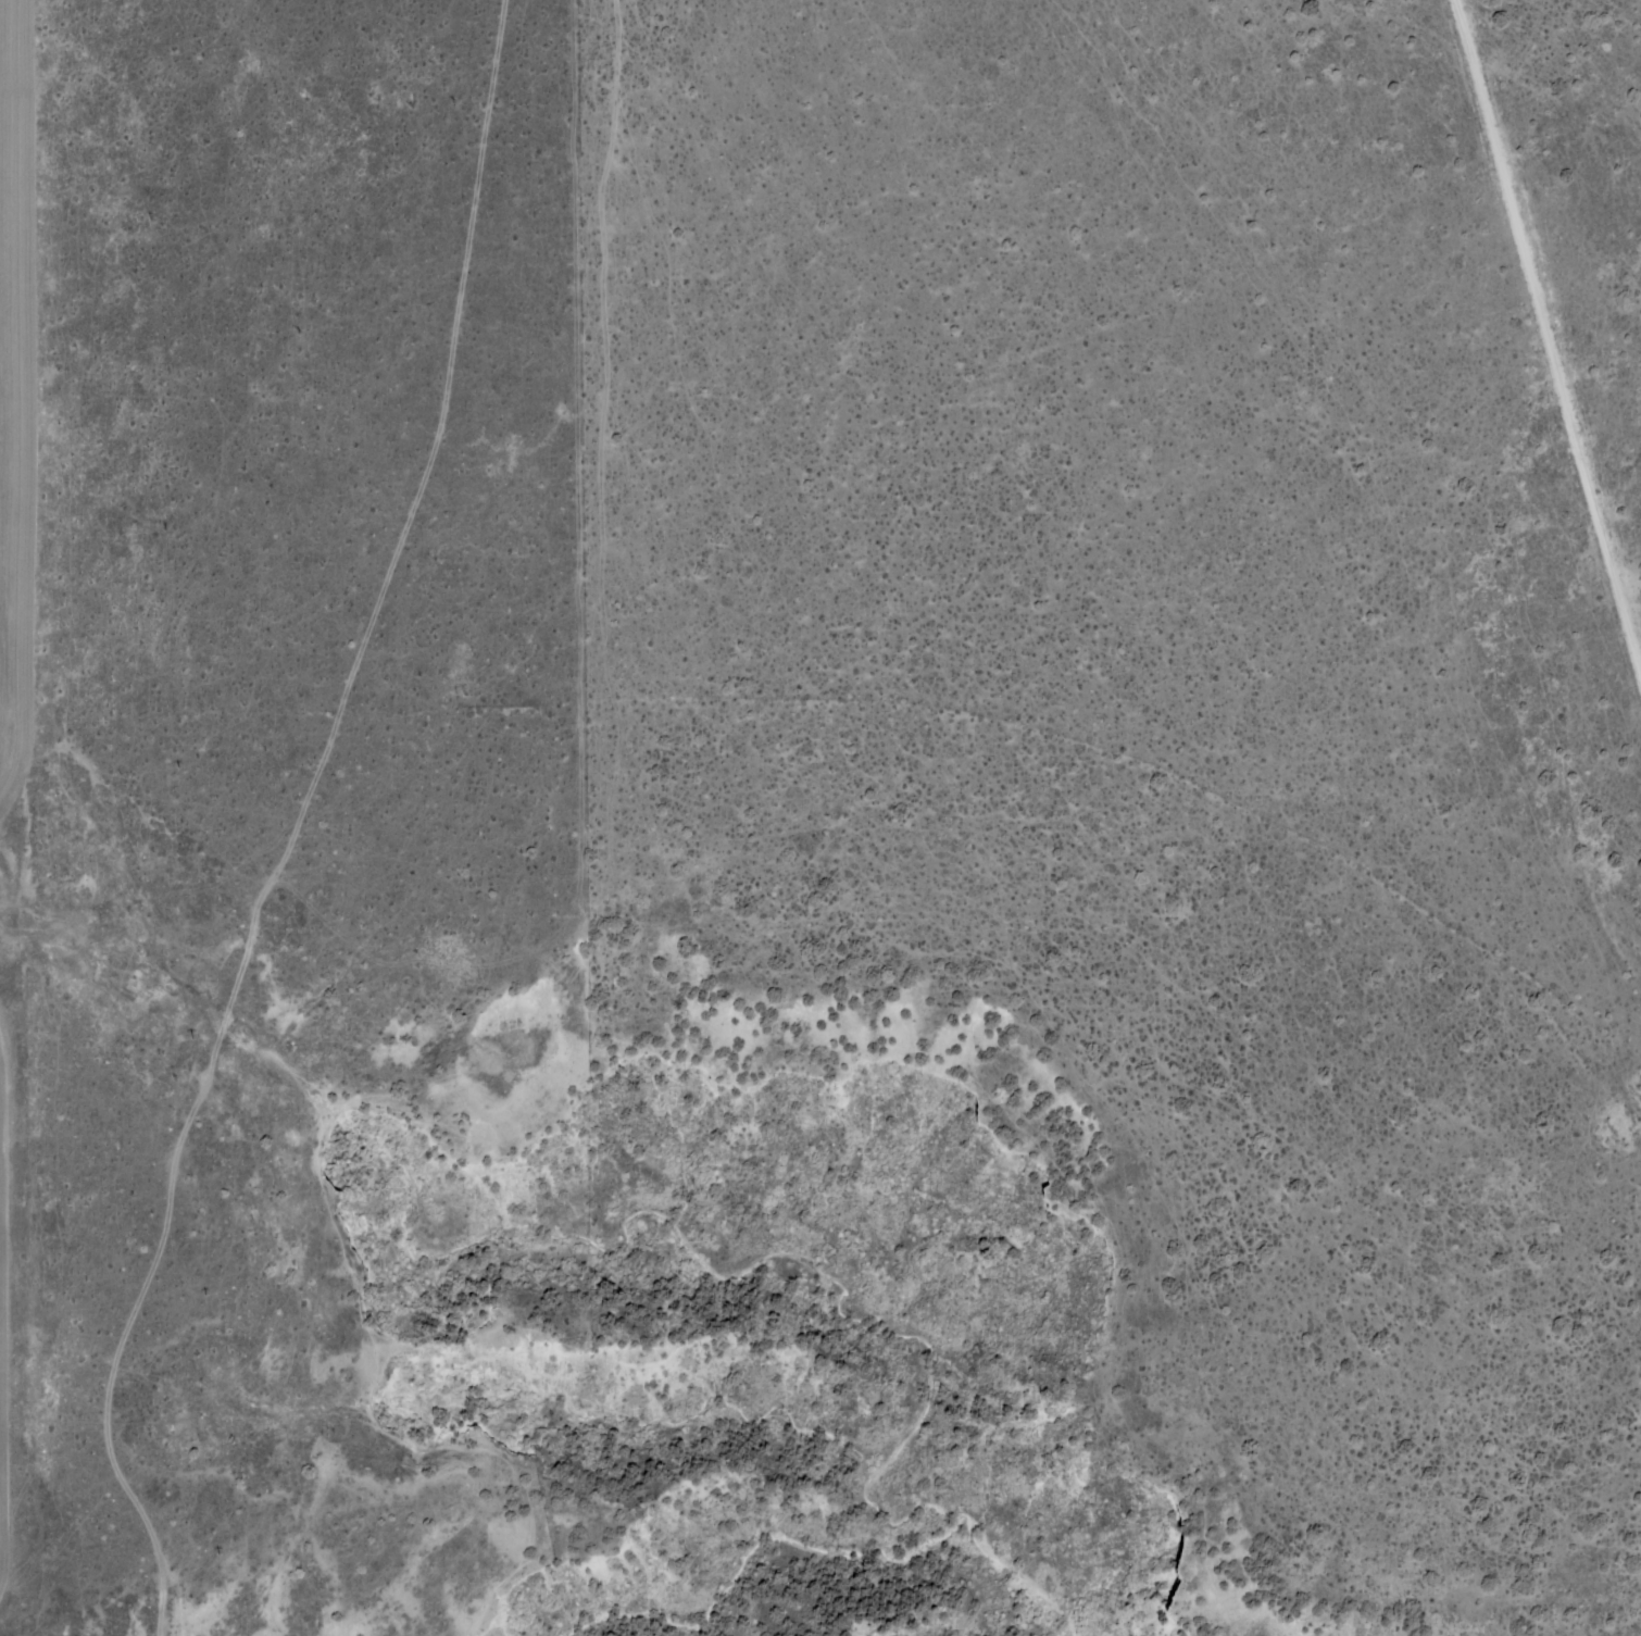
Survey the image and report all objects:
road: (1549, 337)
crop: (131, 653)
road: (298, 826)

